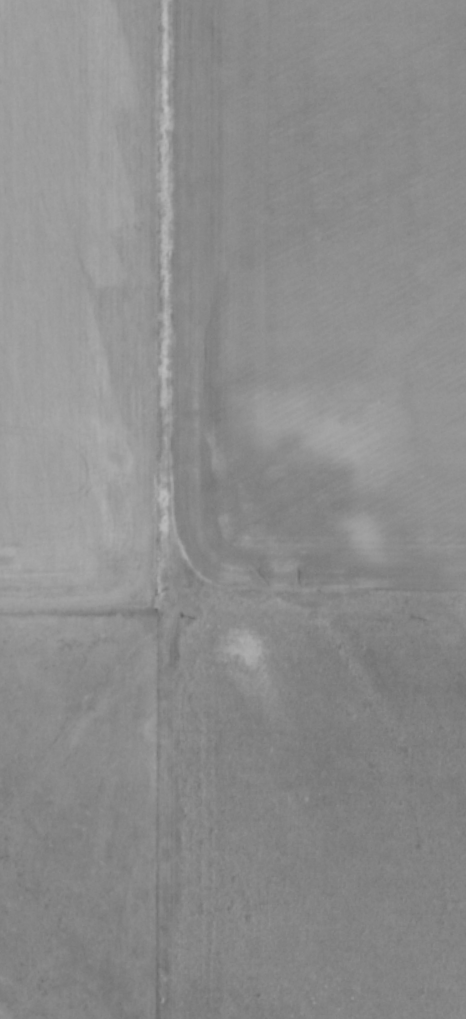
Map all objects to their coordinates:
crop: (232, 298)

